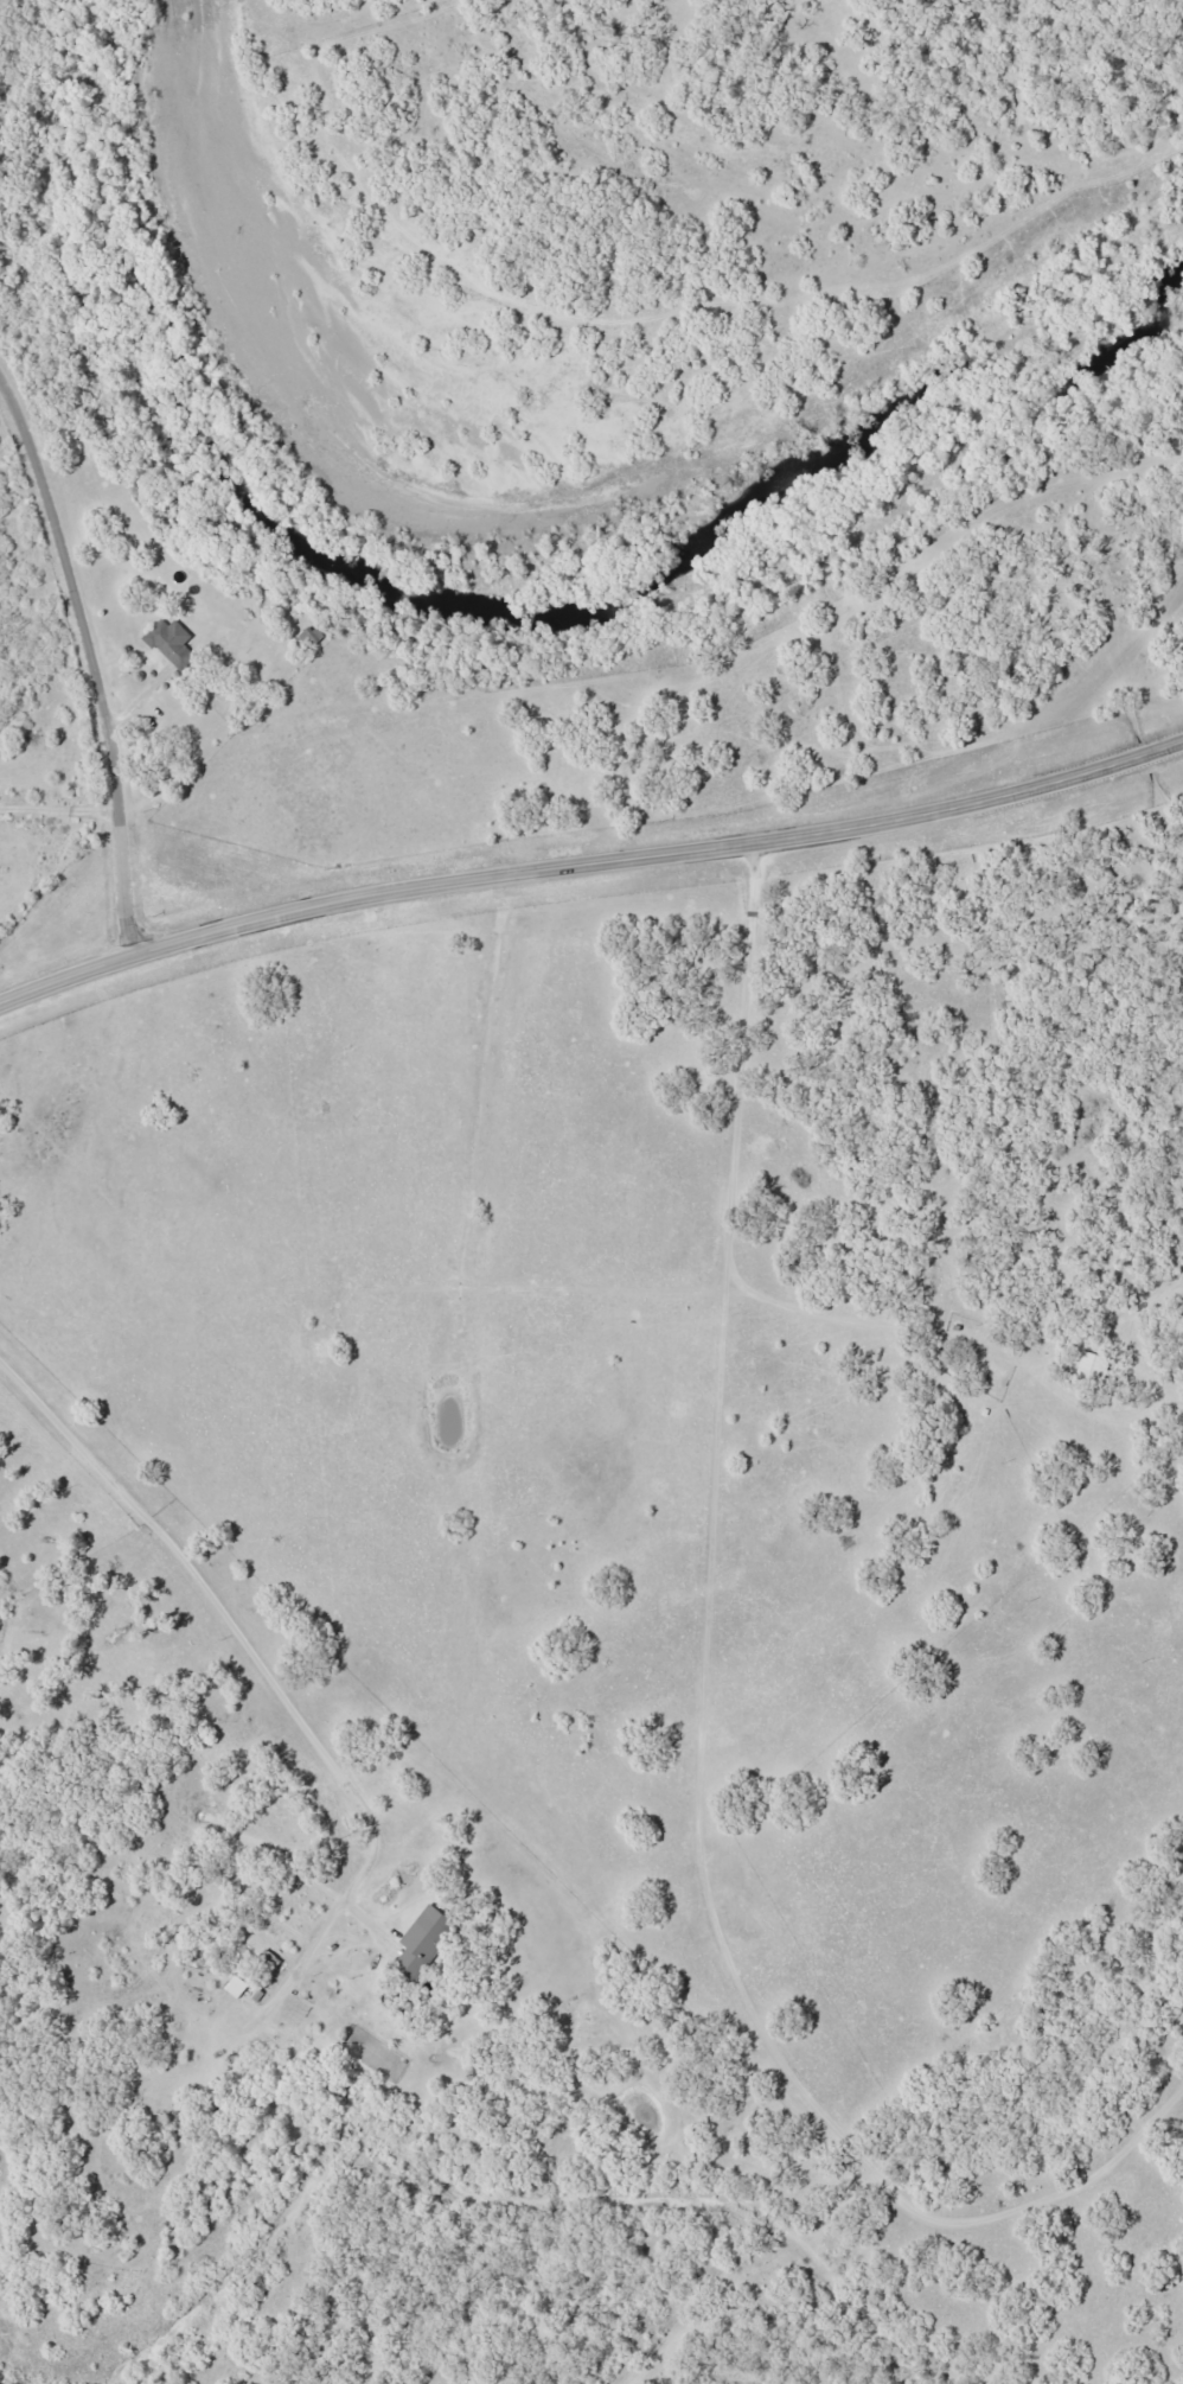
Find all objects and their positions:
building: (311, 637)
building: (172, 642)
road: (96, 650)
road: (589, 859)
building: (324, 1349)
building: (1094, 1368)
road: (252, 1651)
building: (426, 1940)
building: (238, 1985)

